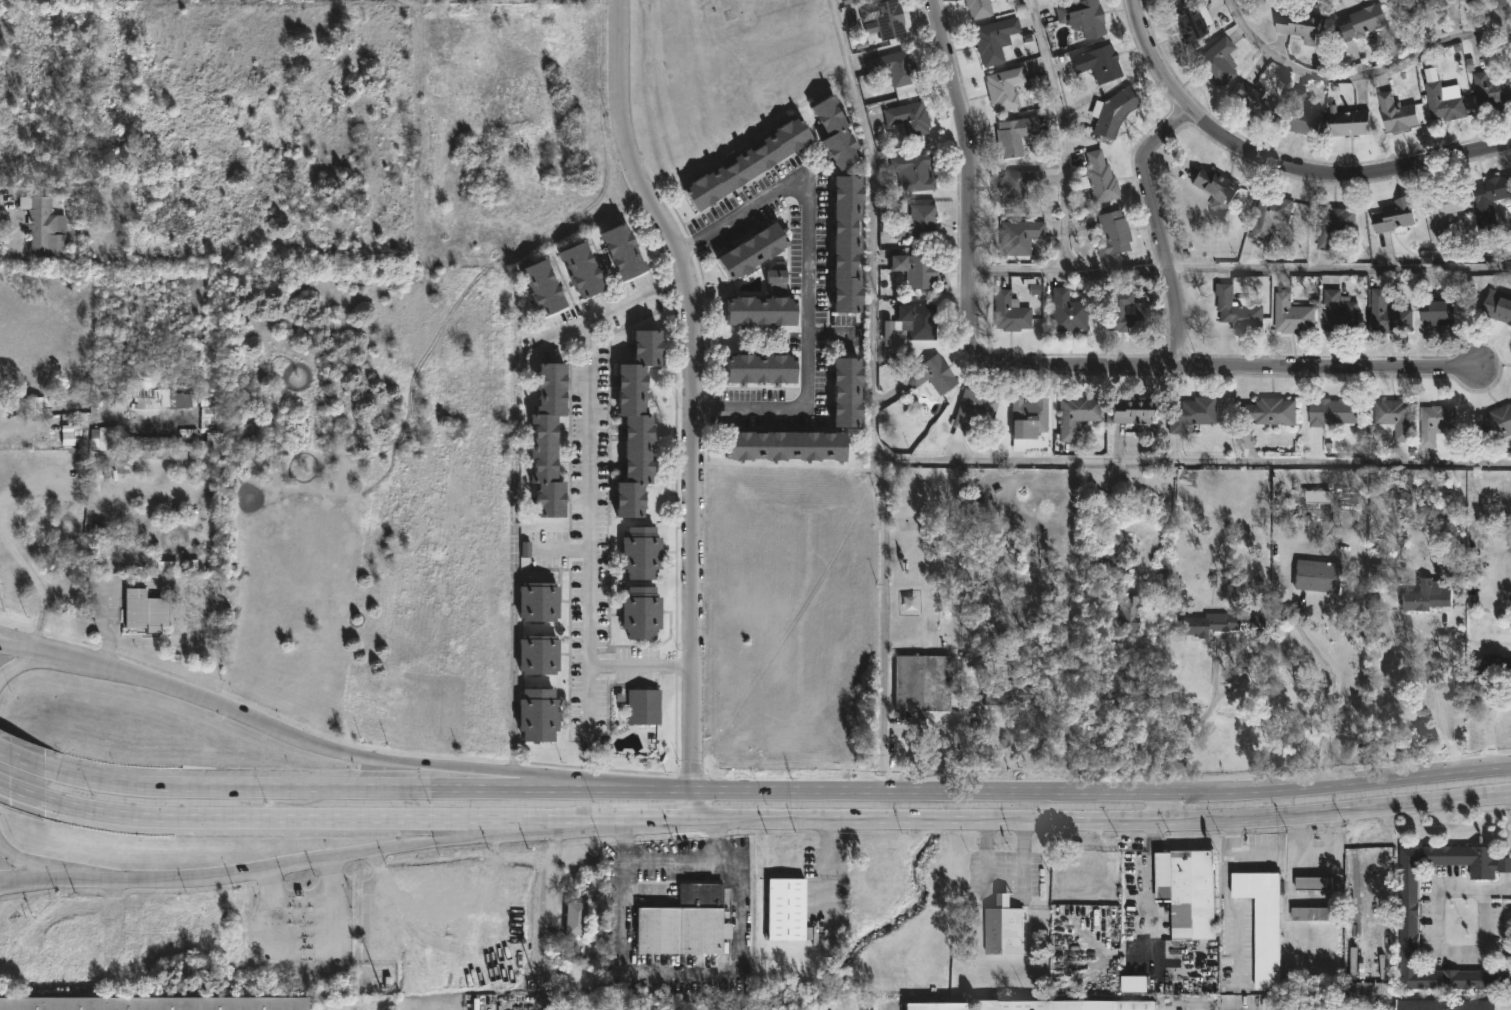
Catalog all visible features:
building: (1497, 4)
building: (981, 8)
building: (886, 17)
building: (1085, 17)
building: (1191, 20)
building: (1359, 21)
building: (1298, 24)
building: (996, 39)
building: (1215, 62)
building: (1100, 63)
building: (895, 67)
road: (1359, 72)
building: (1006, 89)
building: (1491, 89)
building: (1250, 100)
building: (1442, 102)
building: (1116, 110)
building: (1395, 112)
building: (1297, 113)
building: (911, 118)
building: (1347, 120)
building: (835, 132)
building: (1016, 134)
building: (747, 163)
road: (1281, 163)
building: (915, 172)
building: (1101, 178)
road: (1067, 179)
building: (1022, 184)
building: (1214, 187)
building: (1489, 196)
building: (1444, 208)
building: (1268, 213)
building: (1393, 216)
building: (915, 224)
building: (1331, 224)
building: (45, 226)
road: (1157, 227)
building: (1114, 233)
building: (1022, 237)
building: (845, 244)
building: (751, 250)
building: (621, 251)
road: (1116, 268)
building: (915, 269)
road: (1339, 269)
building: (580, 271)
building: (776, 276)
road: (807, 279)
building: (540, 288)
building: (1034, 289)
building: (1497, 305)
building: (1236, 309)
building: (760, 310)
building: (1436, 310)
building: (1337, 311)
building: (1012, 312)
building: (1069, 312)
building: (1128, 312)
building: (1387, 314)
building: (1291, 315)
building: (922, 318)
building: (887, 333)
road: (1045, 363)
building: (759, 369)
building: (933, 375)
road: (694, 386)
building: (846, 392)
building: (167, 399)
building: (37, 407)
building: (974, 410)
building: (1135, 410)
building: (1266, 411)
building: (1330, 411)
building: (1190, 414)
building: (1079, 415)
road: (69, 419)
building: (1029, 420)
building: (1392, 420)
building: (1433, 421)
building: (635, 424)
building: (1494, 424)
building: (103, 439)
building: (547, 441)
building: (784, 446)
road: (961, 463)
road: (589, 490)
road: (1166, 518)
building: (640, 554)
building: (1314, 576)
building: (1095, 589)
building: (1424, 596)
building: (538, 603)
building: (1131, 608)
building: (145, 612)
building: (640, 615)
building: (1204, 624)
road: (884, 628)
road: (3, 640)
road: (3, 642)
building: (537, 655)
road: (40, 660)
building: (1034, 664)
building: (1493, 664)
building: (922, 683)
road: (1336, 690)
building: (1017, 694)
building: (642, 706)
road: (1440, 706)
building: (537, 713)
road: (322, 747)
road: (35, 765)
road: (1336, 779)
road: (362, 786)
road: (672, 788)
road: (926, 790)
road: (27, 796)
road: (692, 803)
road: (1370, 803)
road: (1161, 804)
road: (1196, 816)
road: (615, 818)
road: (658, 818)
road: (704, 818)
road: (939, 818)
road: (329, 822)
road: (1230, 833)
road: (718, 839)
road: (1317, 844)
road: (1255, 852)
road: (677, 859)
road: (986, 862)
road: (1021, 862)
road: (323, 865)
road: (34, 866)
road: (19, 879)
building: (1311, 881)
road: (18, 882)
road: (1498, 888)
building: (1185, 893)
road: (1004, 900)
building: (789, 908)
building: (1311, 912)
road: (1235, 916)
building: (578, 917)
building: (688, 921)
building: (1263, 921)
building: (1407, 923)
building: (1002, 925)
road: (1439, 948)
road: (665, 973)
building: (1135, 983)
building: (155, 1003)
building: (1445, 1003)
building: (1065, 1004)
building: (936, 1006)

